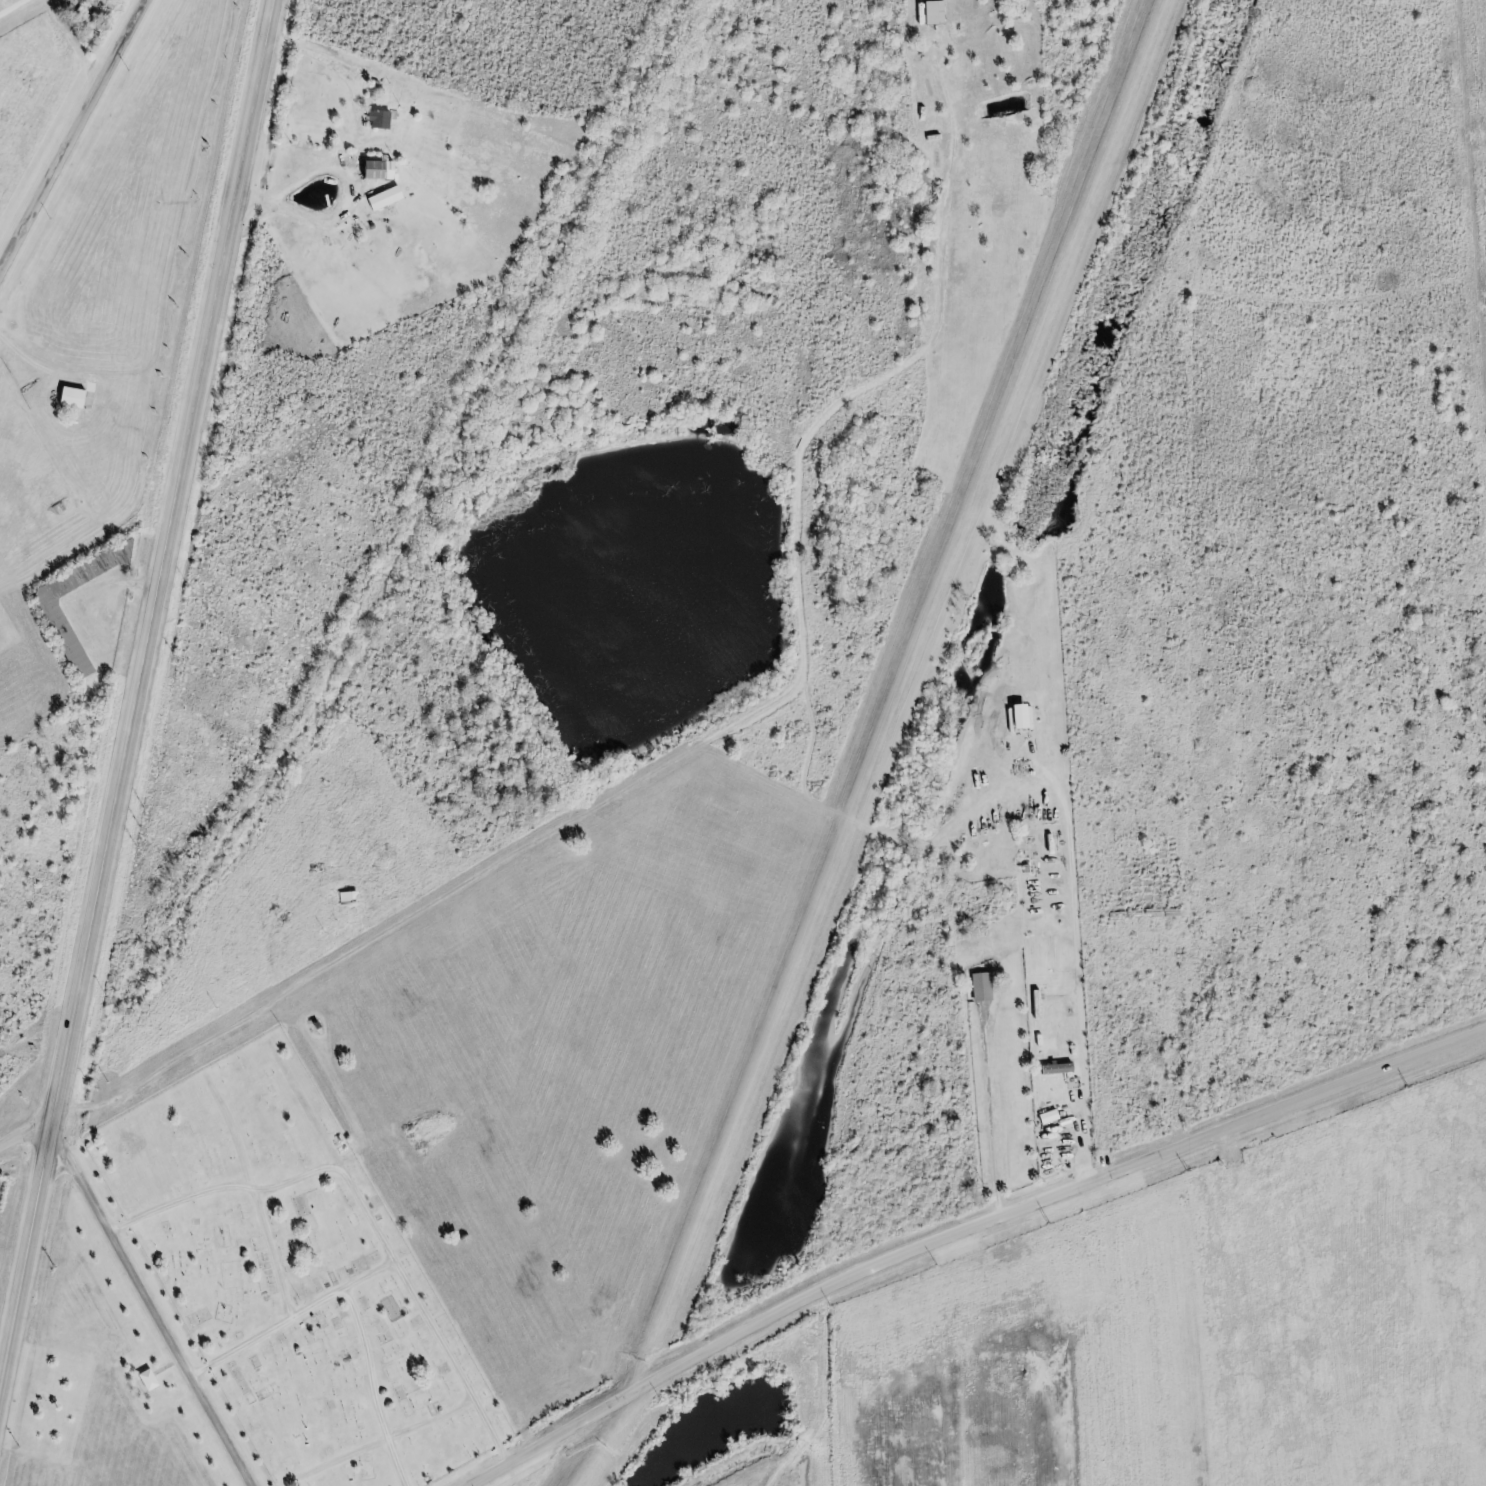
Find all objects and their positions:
road: (9, 6)
building: (375, 120)
road: (72, 139)
building: (372, 170)
building: (381, 199)
building: (67, 398)
railway: (369, 593)
building: (60, 635)
road: (132, 695)
building: (992, 769)
building: (345, 898)
building: (978, 986)
building: (1053, 1077)
road: (988, 1094)
road: (25, 1131)
road: (961, 1235)
park: (296, 1276)
road: (154, 1311)
building: (146, 1384)
road: (822, 1399)

